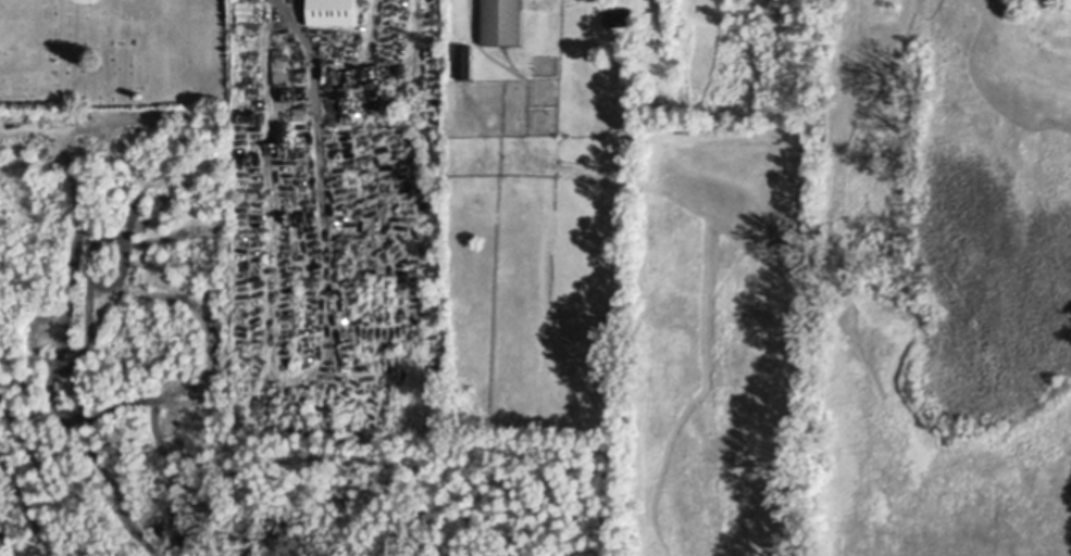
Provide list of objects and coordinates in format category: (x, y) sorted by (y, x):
road: (279, 5)
building: (334, 11)
building: (621, 15)
building: (506, 22)
park: (113, 52)
building: (466, 60)
building: (302, 111)

